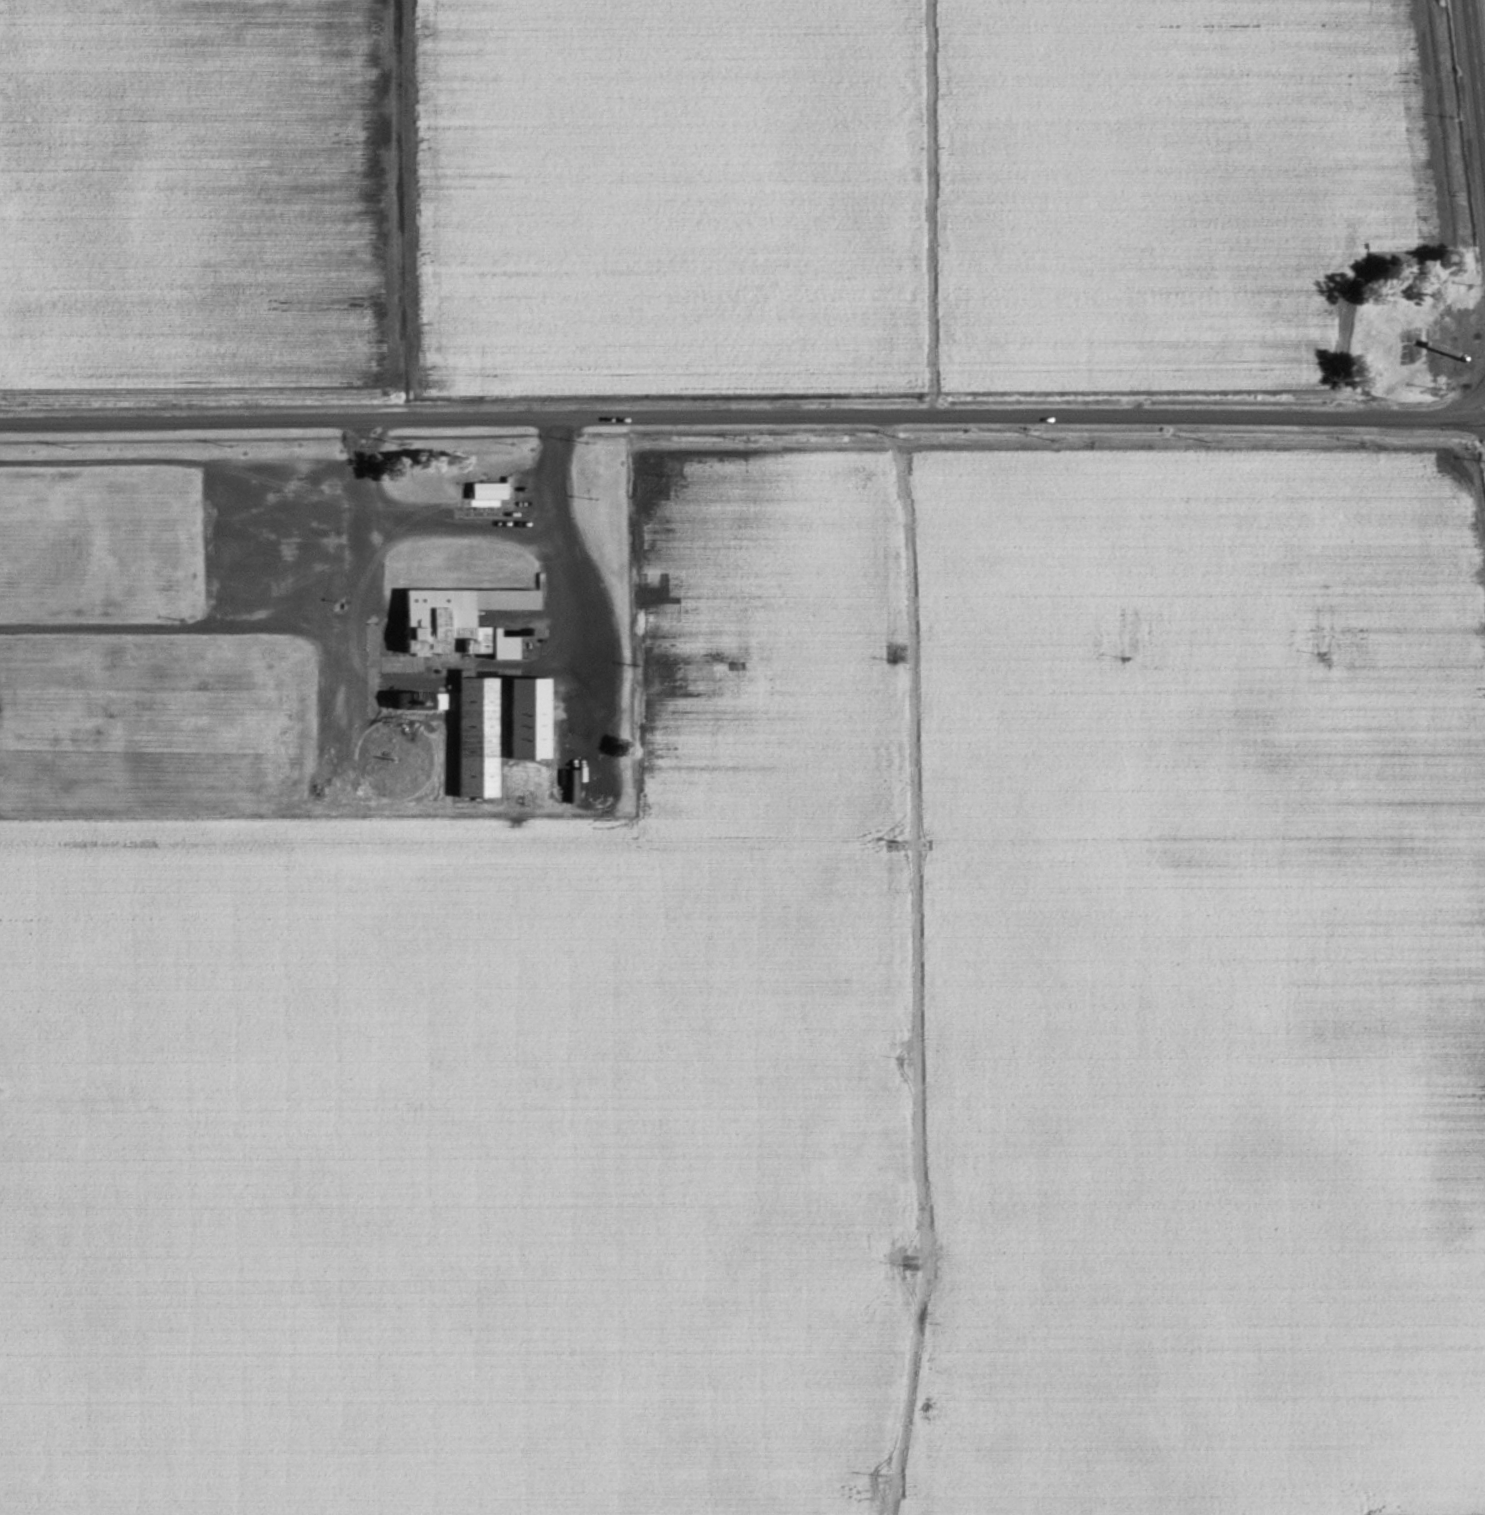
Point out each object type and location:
road: (1476, 71)
road: (446, 415)
road: (1189, 416)
building: (486, 495)
road: (462, 507)
building: (448, 620)
building: (527, 721)
road: (901, 965)

